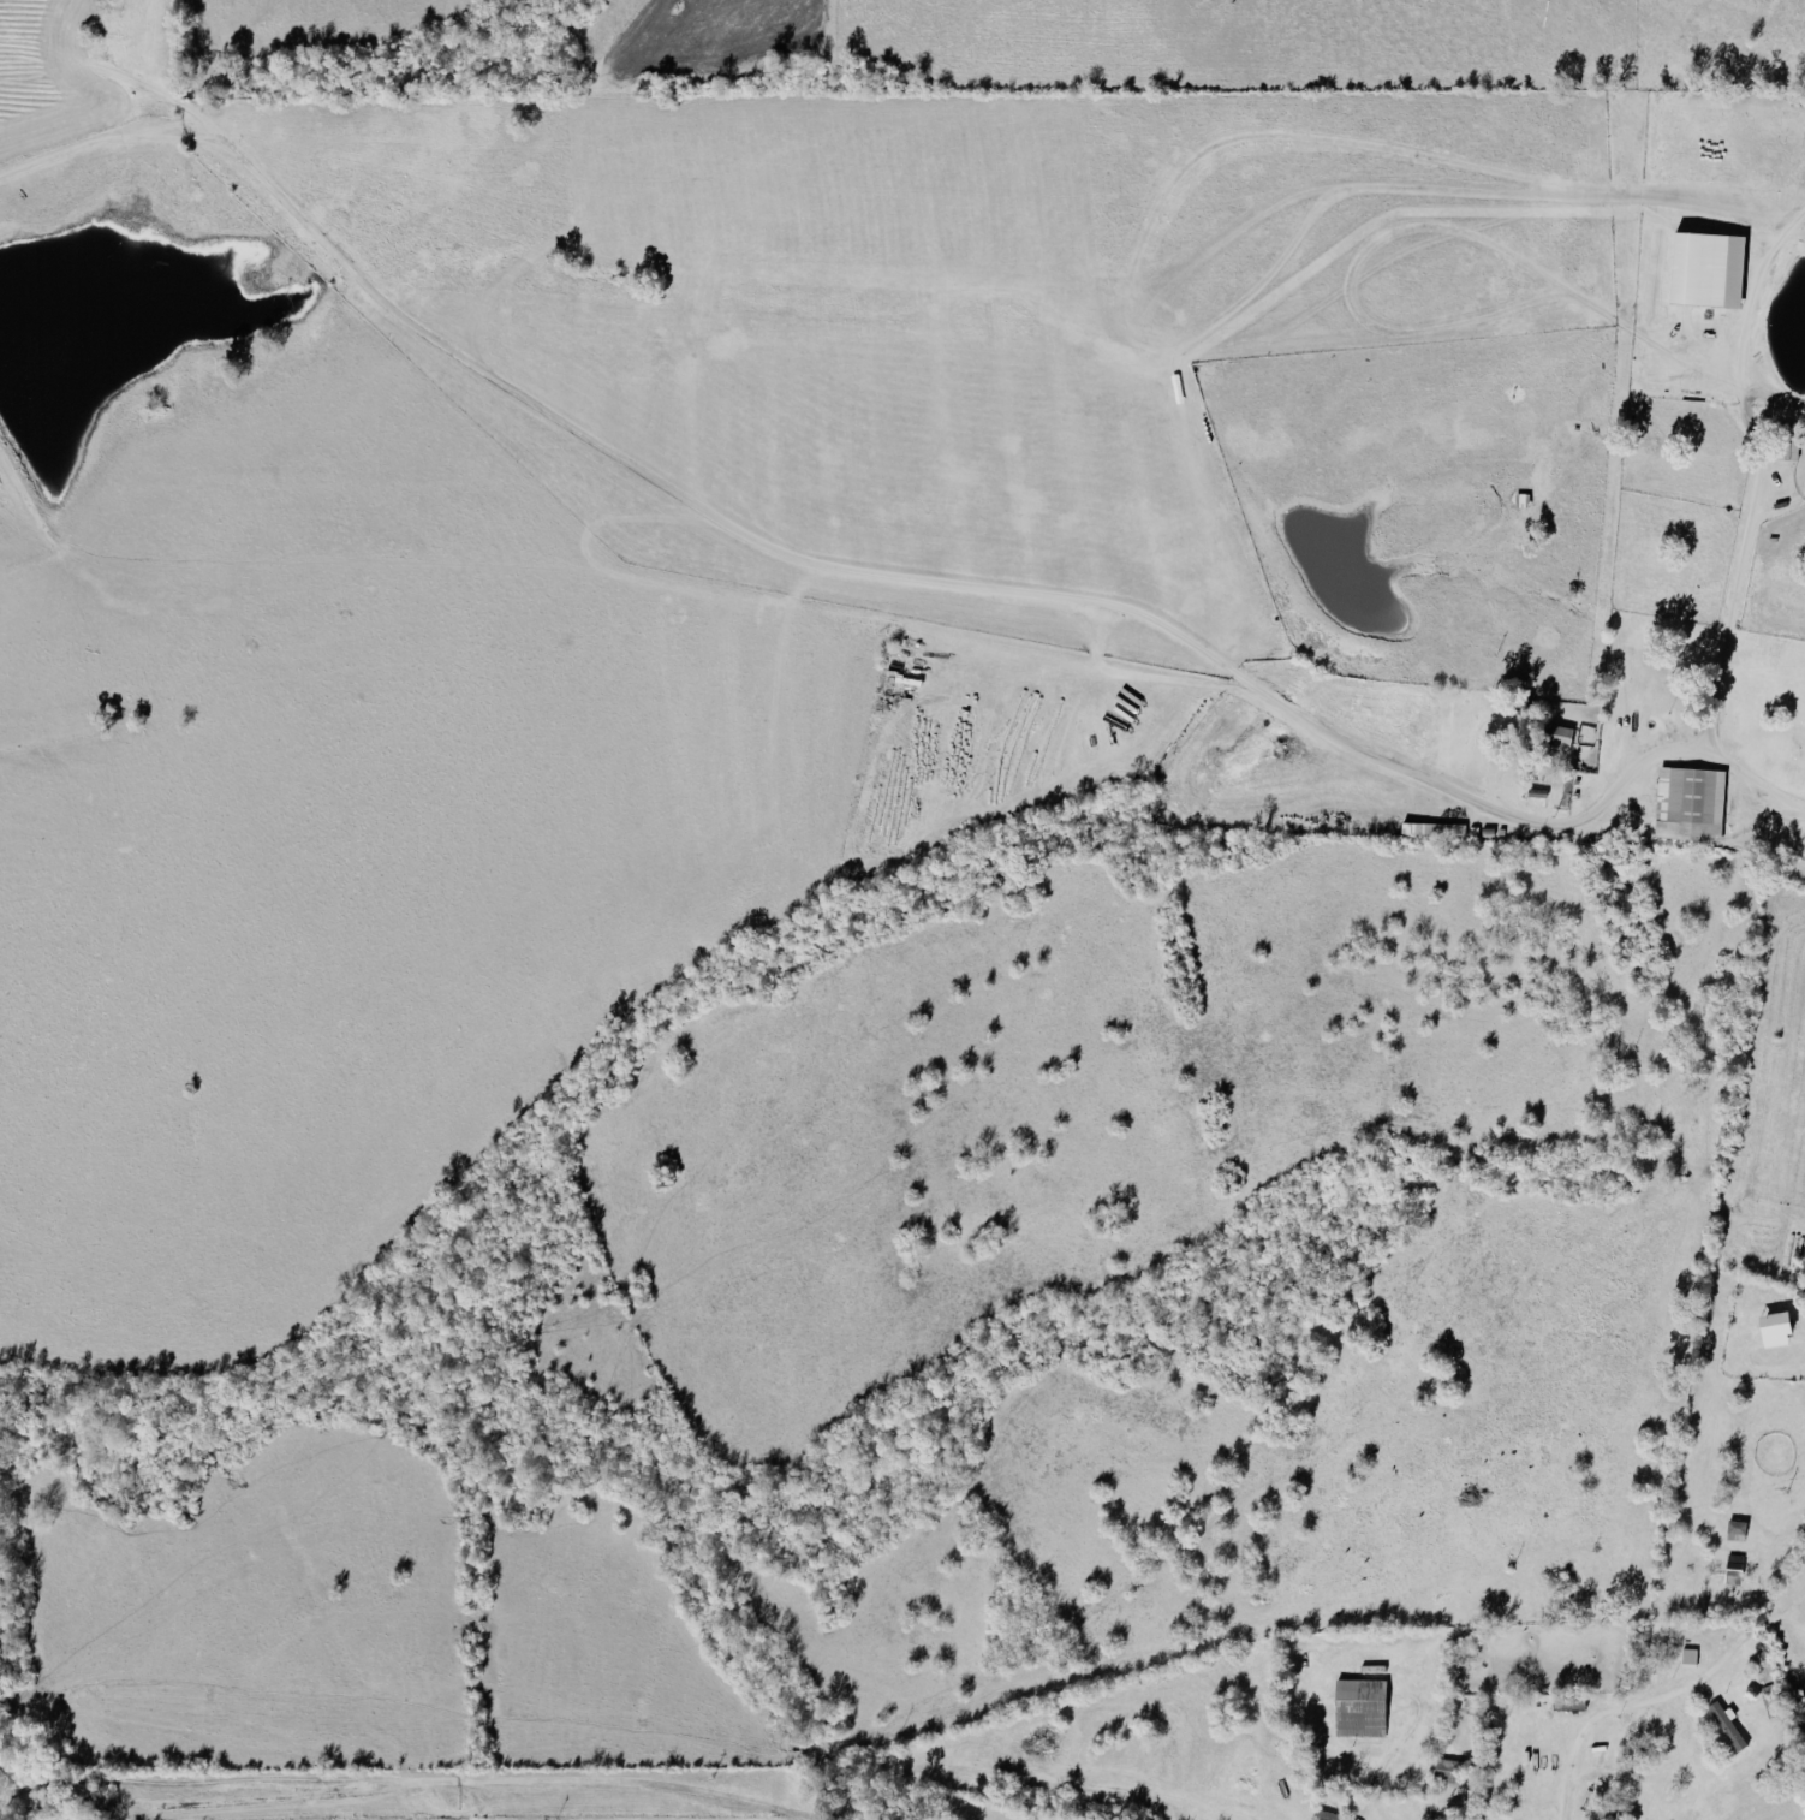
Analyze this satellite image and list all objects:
building: (1709, 267)
road: (1752, 510)
road: (877, 579)
building: (1561, 734)
building: (1691, 802)
building: (1777, 1328)
building: (1738, 1529)
building: (1735, 1568)
building: (1691, 1655)
road: (1663, 1697)
building: (1363, 1706)
building: (1729, 1723)
road: (955, 1766)
building: (1329, 1815)

